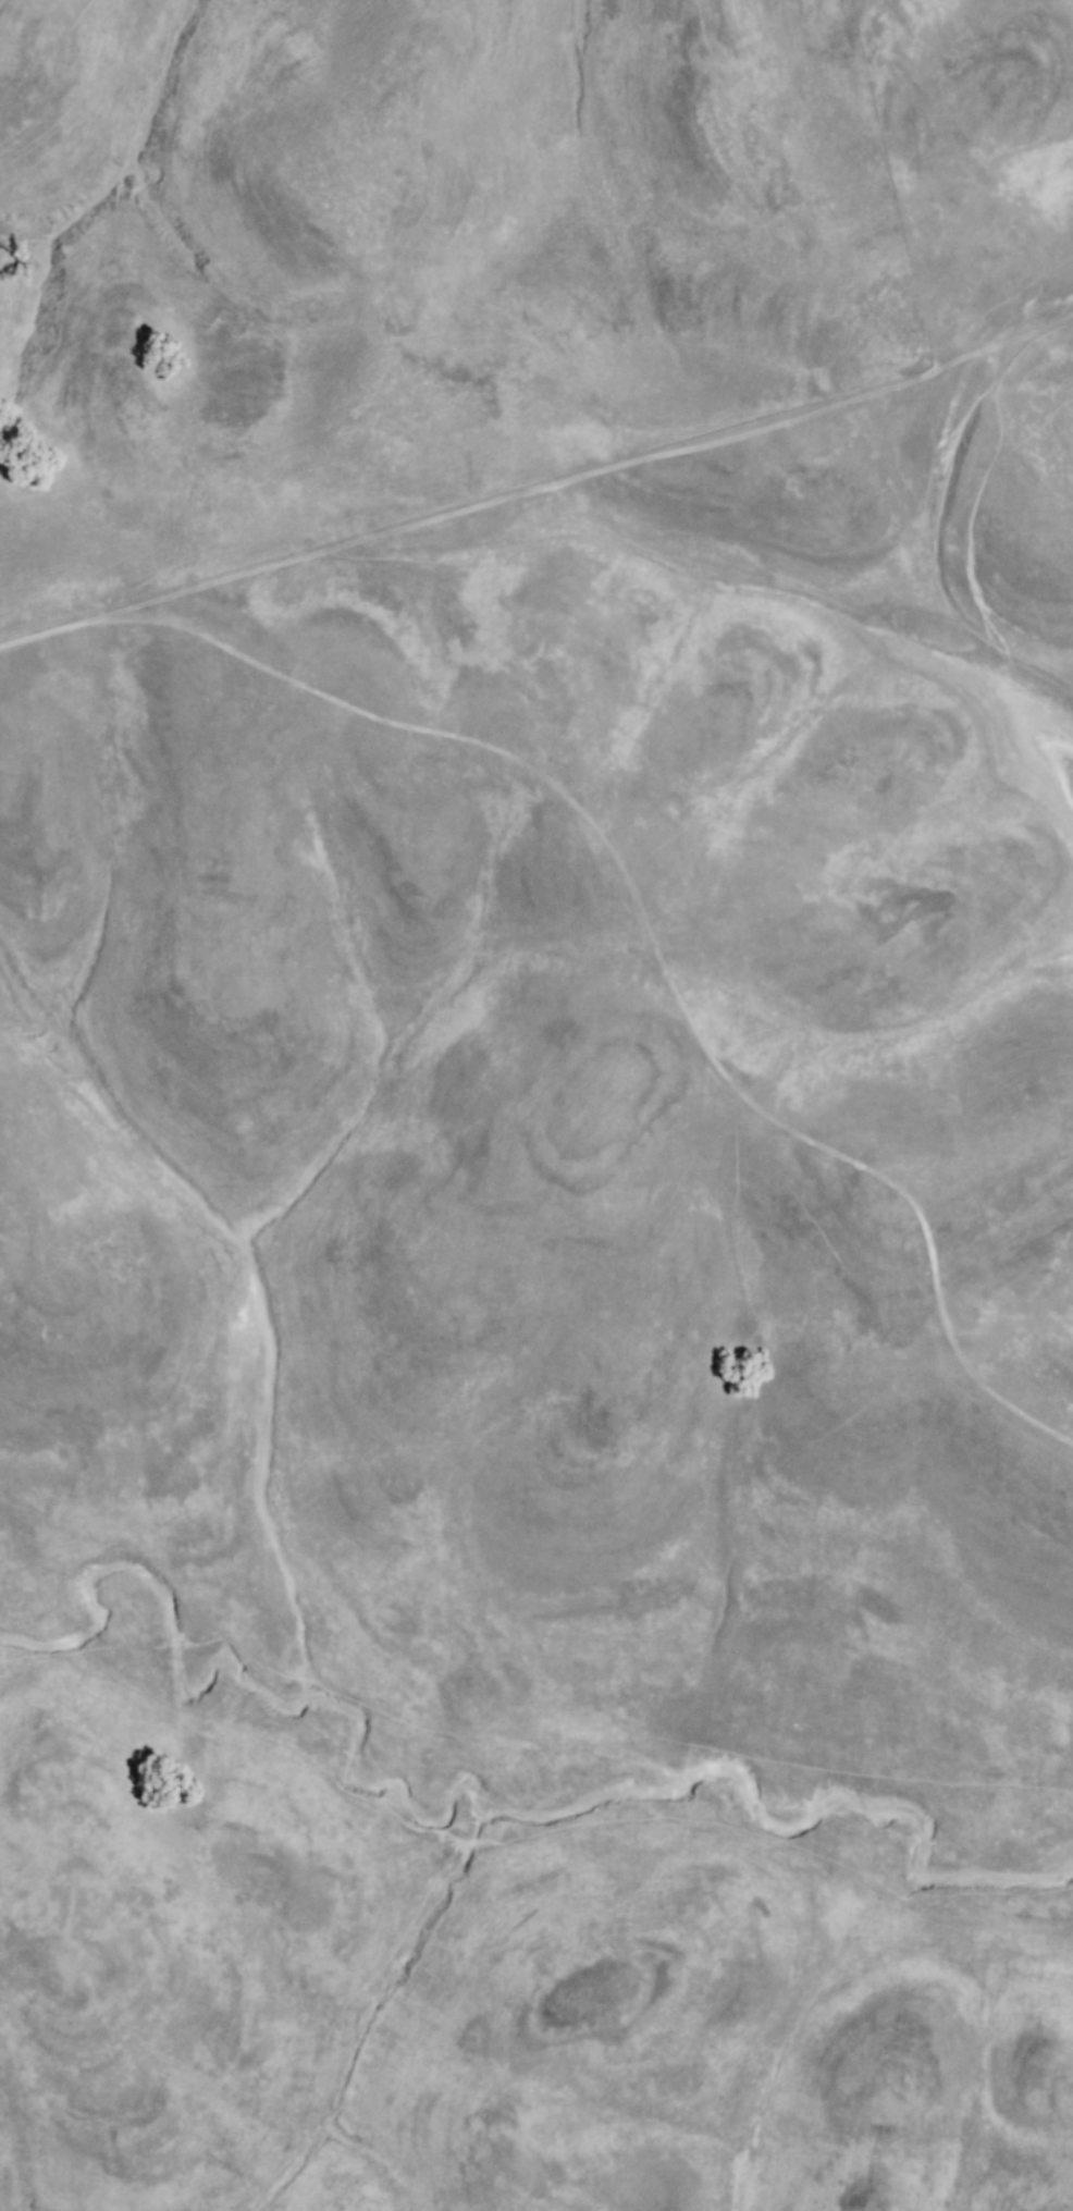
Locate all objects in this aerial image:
road: (2, 4)

